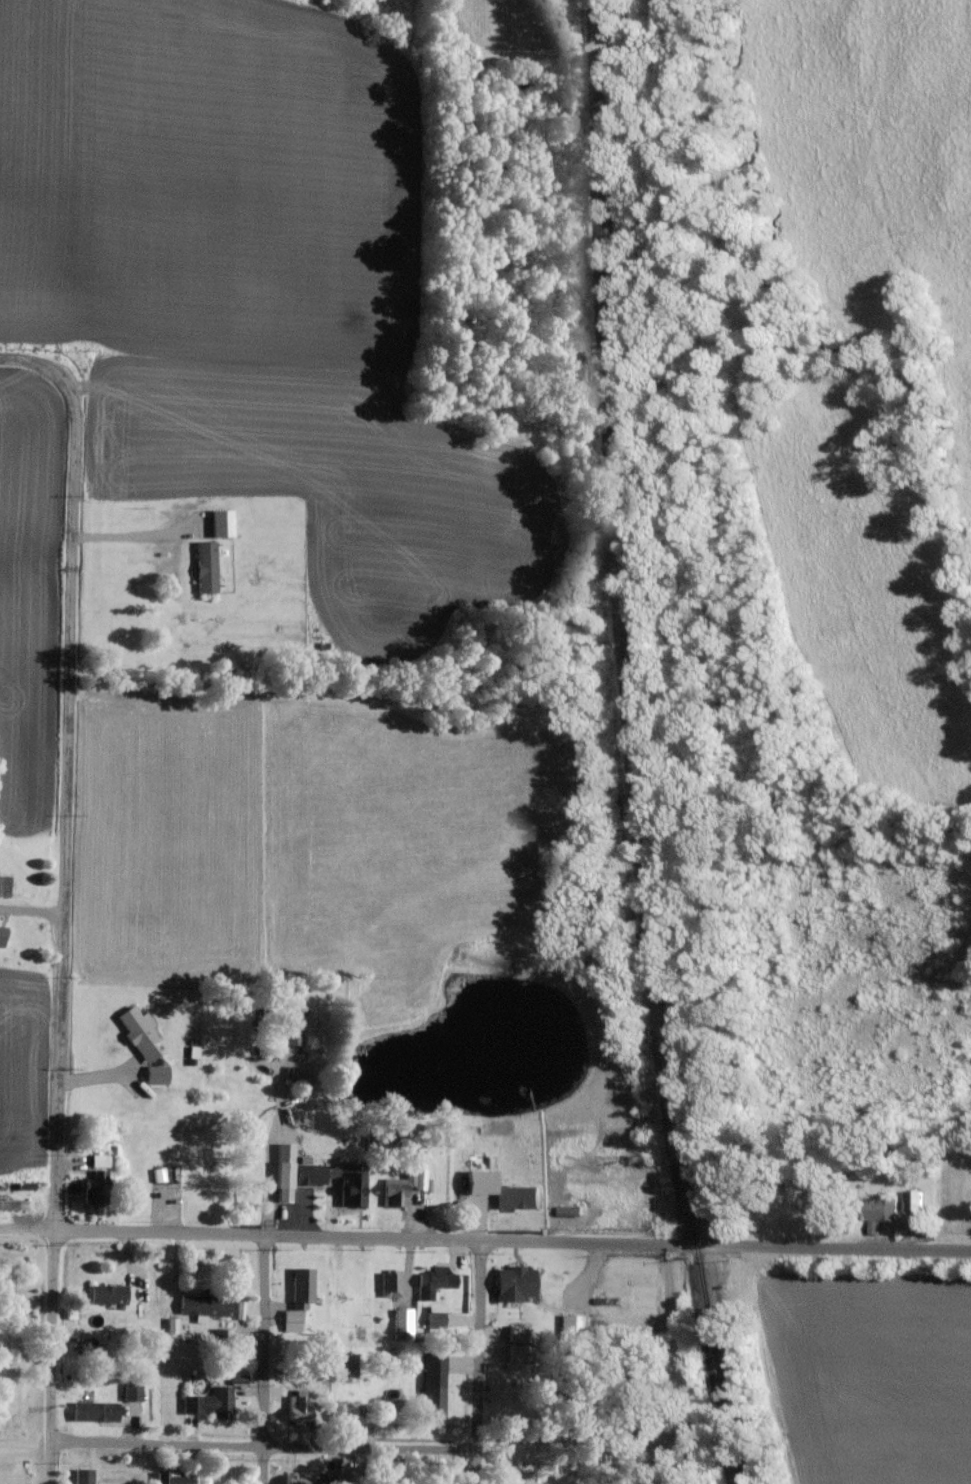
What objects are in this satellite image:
building: (218, 522)
road: (138, 535)
building: (203, 566)
railway: (635, 745)
road: (64, 894)
building: (0, 929)
building: (135, 1031)
building: (290, 1035)
building: (153, 1073)
building: (285, 1171)
building: (93, 1176)
building: (475, 1181)
building: (347, 1183)
building: (392, 1191)
building: (514, 1196)
building: (11, 1204)
building: (566, 1208)
building: (908, 1210)
building: (878, 1211)
road: (309, 1237)
road: (795, 1244)
building: (430, 1281)
building: (389, 1283)
building: (511, 1284)
building: (104, 1294)
building: (297, 1300)
building: (202, 1305)
building: (434, 1316)
building: (400, 1323)
building: (568, 1324)
building: (514, 1332)
building: (512, 1353)
road: (264, 1360)
road: (477, 1362)
building: (430, 1384)
building: (129, 1390)
building: (207, 1400)
building: (294, 1404)
building: (91, 1410)
road: (237, 1446)
building: (81, 1475)
building: (167, 1477)

